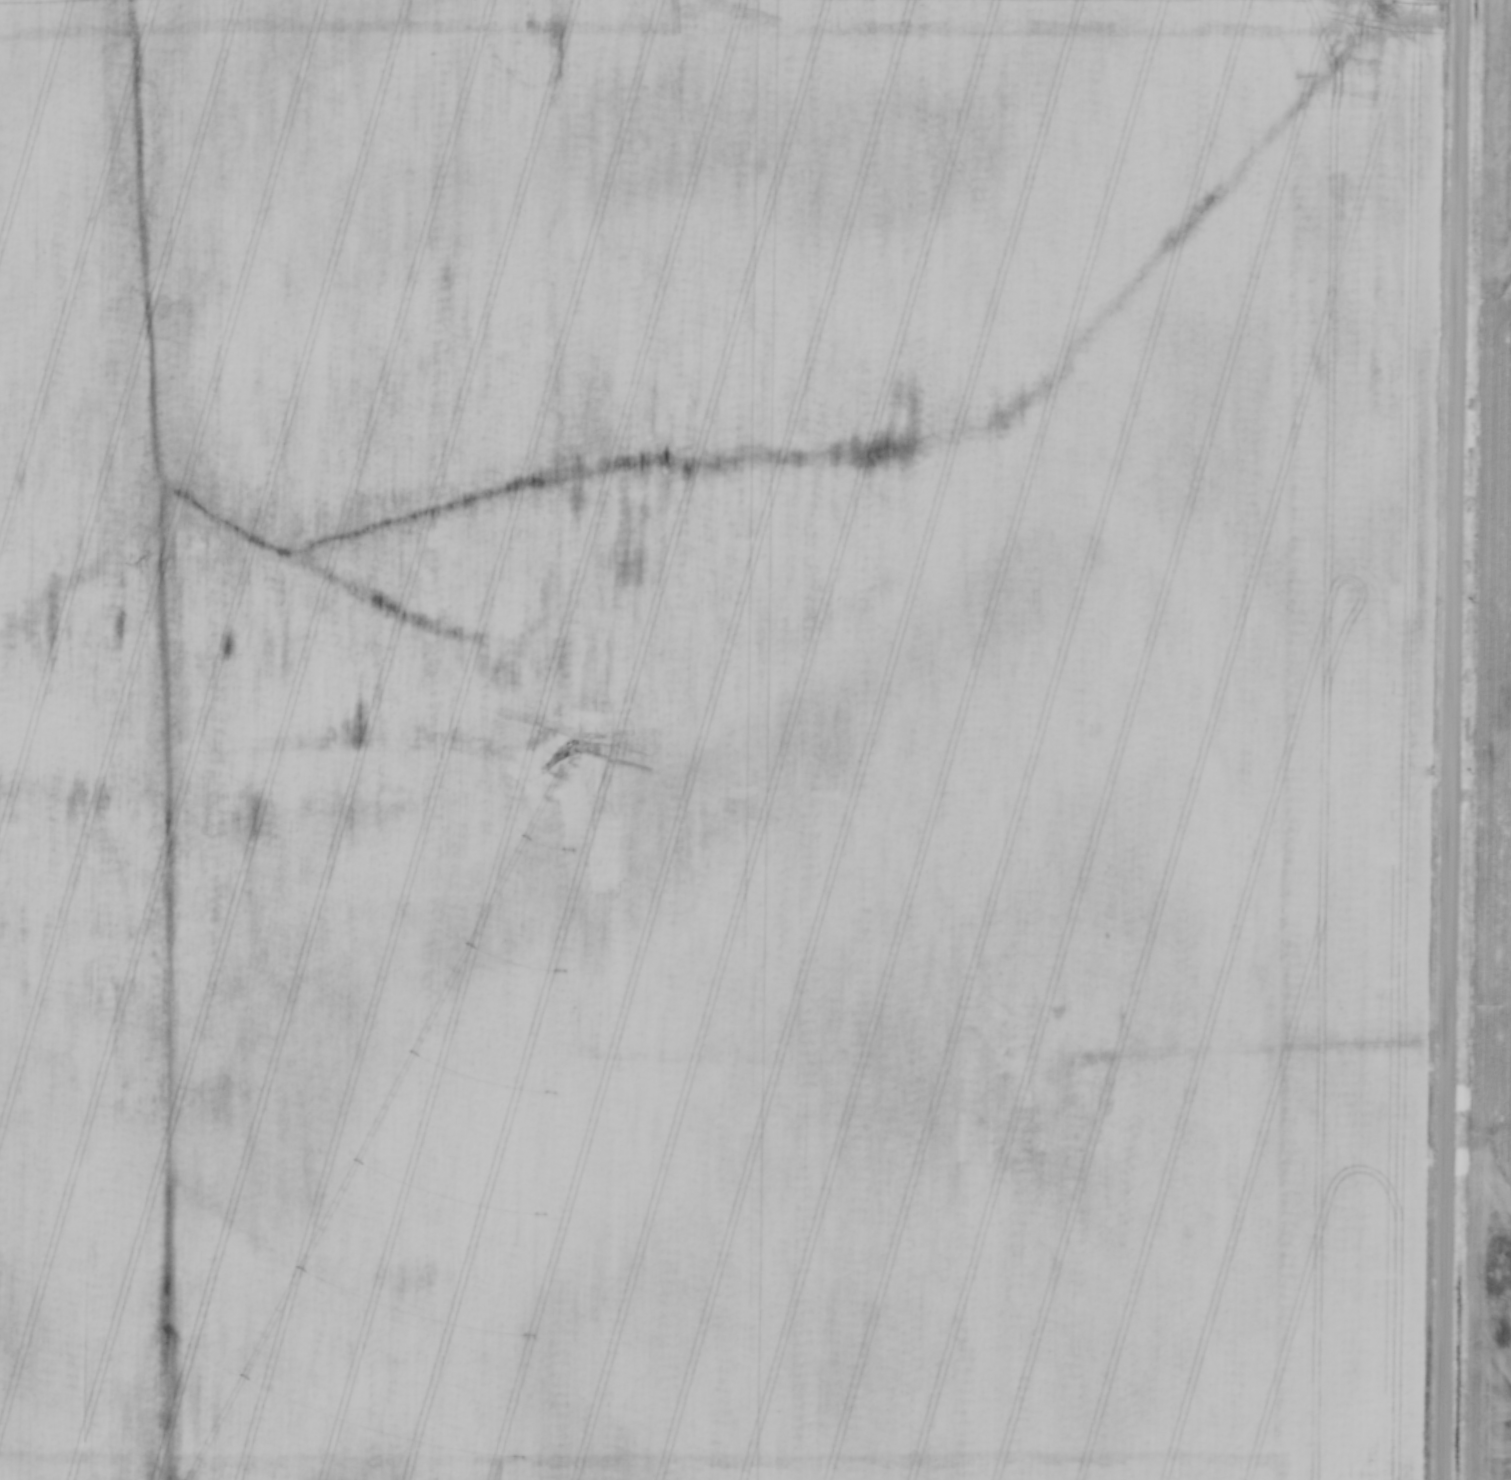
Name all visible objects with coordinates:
road: (1450, 740)

